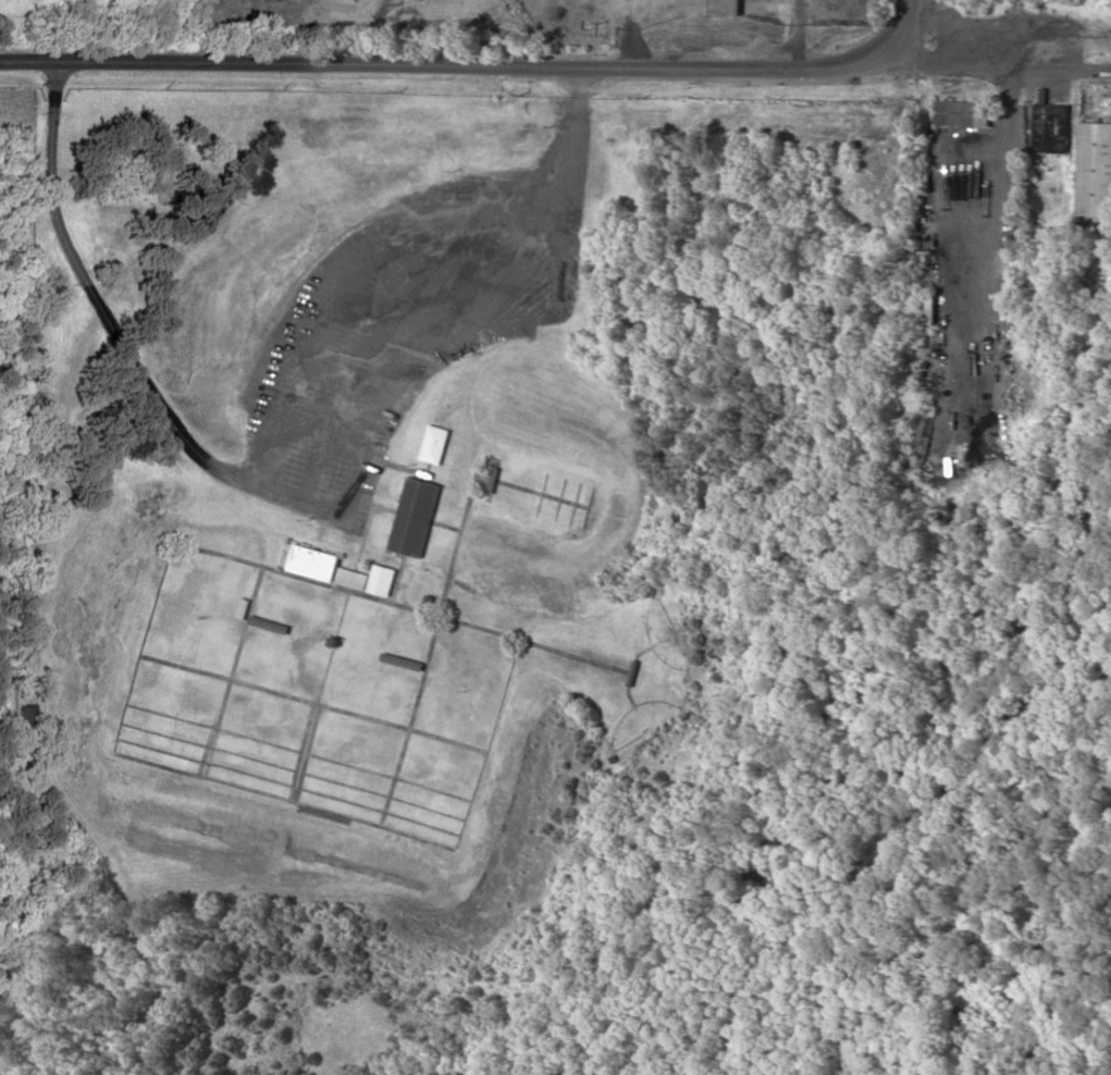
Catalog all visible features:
building: (712, 7)
road: (902, 22)
road: (998, 66)
road: (448, 67)
building: (962, 113)
building: (1095, 170)
building: (930, 309)
building: (433, 444)
building: (412, 517)
building: (308, 561)
building: (366, 579)

